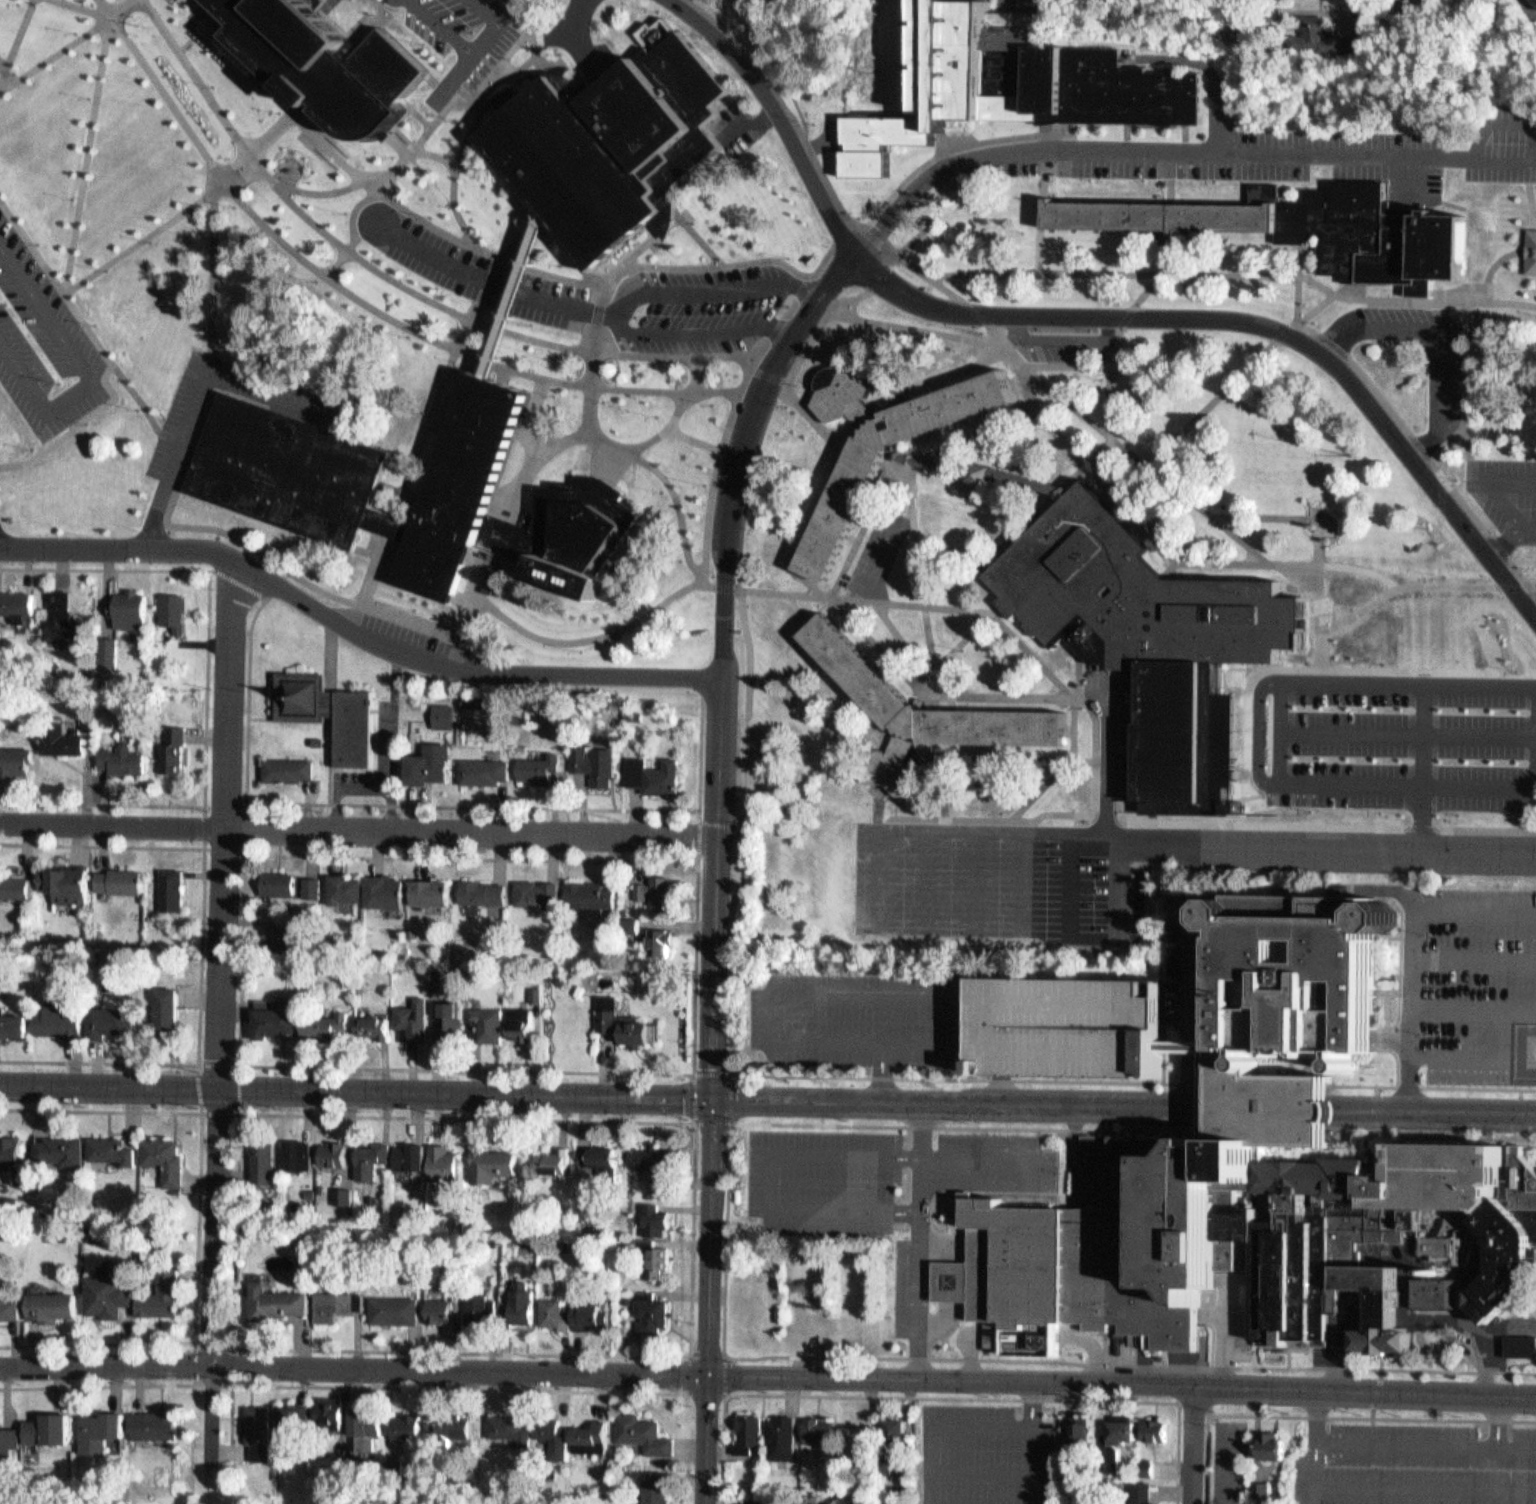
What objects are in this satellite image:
building: (185, 0)
building: (1533, 2)
road: (199, 10)
road: (213, 11)
road: (94, 12)
road: (370, 24)
road: (526, 26)
flagpole: (139, 27)
flagpole: (147, 28)
building: (1318, 32)
road: (17, 35)
flagpole: (137, 35)
parking lot: (459, 37)
road: (573, 37)
road: (410, 45)
road: (53, 53)
road: (470, 53)
road: (531, 53)
road: (776, 66)
road: (1, 67)
building: (322, 67)
road: (1, 76)
building: (1008, 83)
road: (448, 84)
road: (494, 88)
road: (456, 95)
road: (782, 101)
road: (418, 113)
road: (776, 113)
road: (1217, 119)
road: (462, 136)
building: (613, 143)
road: (394, 144)
road: (259, 146)
building: (98, 147)
road: (1171, 149)
road: (85, 154)
road: (447, 162)
road: (900, 174)
road: (316, 186)
road: (1528, 188)
road: (388, 190)
road: (350, 209)
building: (1309, 230)
road: (520, 238)
road: (698, 241)
road: (32, 244)
building: (1529, 245)
road: (900, 248)
road: (567, 251)
road: (1504, 256)
road: (624, 261)
road: (737, 263)
road: (333, 264)
road: (551, 269)
road: (818, 269)
road: (215, 271)
road: (1233, 275)
road: (485, 279)
parking lot: (716, 279)
road: (491, 281)
building: (514, 296)
road: (622, 303)
road: (595, 311)
road: (85, 321)
road: (1252, 323)
road: (1432, 334)
parking lot: (46, 340)
road: (983, 341)
road: (211, 365)
road: (1065, 365)
road: (86, 373)
road: (765, 375)
road: (500, 376)
parking lot: (1440, 379)
road: (437, 391)
road: (732, 391)
road: (1218, 394)
road: (200, 396)
road: (140, 398)
road: (587, 399)
road: (532, 414)
road: (1077, 414)
road: (664, 426)
road: (841, 430)
road: (1109, 432)
road: (1408, 434)
road: (971, 436)
road: (693, 437)
road: (180, 441)
road: (1447, 442)
building: (882, 448)
road: (834, 455)
road: (529, 456)
building: (981, 472)
building: (300, 475)
road: (1491, 478)
road: (712, 483)
building: (462, 486)
road: (667, 486)
parking lot: (1507, 501)
road: (727, 525)
building: (561, 531)
road: (1506, 531)
road: (229, 538)
road: (1320, 539)
road: (126, 553)
road: (1169, 566)
road: (919, 567)
road: (474, 572)
road: (1308, 574)
road: (723, 581)
road: (238, 584)
road: (1423, 591)
road: (864, 595)
building: (16, 597)
building: (172, 604)
road: (800, 605)
building: (131, 606)
road: (490, 610)
building: (66, 615)
road: (1479, 619)
road: (1311, 622)
building: (1143, 627)
building: (1, 630)
road: (903, 634)
building: (108, 643)
road: (877, 643)
road: (954, 646)
road: (474, 668)
road: (1334, 678)
road: (1211, 682)
road: (208, 685)
road: (1219, 693)
road: (997, 694)
road: (1075, 697)
building: (327, 706)
building: (439, 708)
building: (917, 711)
building: (445, 716)
parking lot: (1388, 718)
road: (1405, 718)
building: (93, 721)
road: (1068, 726)
building: (57, 731)
road: (1291, 734)
road: (1519, 741)
building: (171, 744)
road: (1011, 750)
building: (119, 754)
road: (1405, 756)
building: (15, 757)
building: (424, 759)
building: (533, 762)
building: (288, 763)
building: (479, 763)
building: (590, 763)
road: (1059, 764)
road: (1421, 766)
building: (648, 769)
road: (936, 773)
road: (1256, 790)
road: (1404, 795)
road: (819, 801)
road: (425, 806)
road: (247, 807)
road: (1176, 814)
road: (1116, 815)
road: (700, 816)
road: (982, 818)
road: (1337, 819)
road: (702, 822)
road: (359, 827)
road: (1327, 848)
parking lot: (987, 871)
building: (117, 874)
building: (66, 878)
building: (276, 878)
building: (14, 882)
building: (307, 882)
building: (171, 883)
building: (344, 883)
building: (380, 885)
building: (426, 885)
building: (479, 885)
building: (650, 885)
building: (532, 888)
building: (584, 889)
building: (276, 935)
building: (654, 937)
road: (204, 954)
parking lot: (1475, 976)
building: (564, 977)
building: (438, 982)
building: (1305, 982)
building: (538, 992)
building: (169, 1007)
building: (415, 1018)
building: (624, 1018)
building: (110, 1020)
building: (275, 1020)
parking lot: (854, 1020)
building: (62, 1023)
building: (453, 1023)
building: (490, 1024)
building: (525, 1024)
building: (14, 1026)
building: (324, 1028)
building: (375, 1028)
building: (1066, 1028)
parking garage: (1066, 1028)
road: (225, 1035)
building: (1183, 1046)
road: (243, 1063)
road: (792, 1075)
road: (1440, 1087)
traffic signals: (712, 1099)
road: (767, 1100)
building: (1268, 1102)
road: (1374, 1110)
road: (241, 1113)
road: (733, 1126)
building: (64, 1148)
building: (11, 1149)
building: (112, 1150)
building: (296, 1154)
building: (332, 1154)
building: (658, 1154)
building: (410, 1155)
building: (263, 1157)
building: (165, 1158)
building: (604, 1158)
building: (370, 1159)
building: (555, 1159)
building: (442, 1162)
building: (491, 1163)
road: (711, 1168)
parking lot: (875, 1187)
building: (650, 1192)
building: (343, 1196)
building: (657, 1215)
road: (200, 1224)
building: (1255, 1236)
road: (728, 1242)
building: (655, 1260)
building: (955, 1278)
building: (1435, 1292)
building: (107, 1296)
building: (162, 1296)
building: (628, 1298)
building: (273, 1302)
building: (525, 1302)
building: (333, 1305)
building: (51, 1307)
building: (9, 1309)
building: (482, 1309)
building: (394, 1310)
building: (441, 1310)
building: (654, 1310)
building: (558, 1312)
building: (592, 1314)
road: (236, 1344)
building: (1026, 1345)
building: (1522, 1346)
traffic signals: (708, 1372)
road: (768, 1374)
road: (230, 1380)
road: (100, 1386)
road: (457, 1387)
road: (1374, 1393)
road: (726, 1396)
road: (948, 1397)
road: (1193, 1408)
building: (331, 1413)
road: (1327, 1417)
building: (296, 1421)
building: (156, 1425)
building: (408, 1425)
building: (1121, 1427)
building: (509, 1429)
building: (821, 1429)
building: (1155, 1429)
building: (52, 1430)
building: (259, 1430)
building: (366, 1430)
building: (447, 1430)
building: (1081, 1430)
building: (751, 1431)
building: (102, 1432)
building: (646, 1432)
building: (555, 1433)
building: (784, 1435)
building: (896, 1435)
building: (595, 1436)
building: (8, 1441)
road: (1190, 1444)
building: (1272, 1444)
parking lot: (980, 1453)
parking lot: (1226, 1461)
parking lot: (1421, 1463)
building: (1067, 1464)
building: (888, 1471)
building: (1262, 1487)
building: (658, 1490)
building: (1141, 1491)
building: (813, 1497)
building: (762, 1500)

